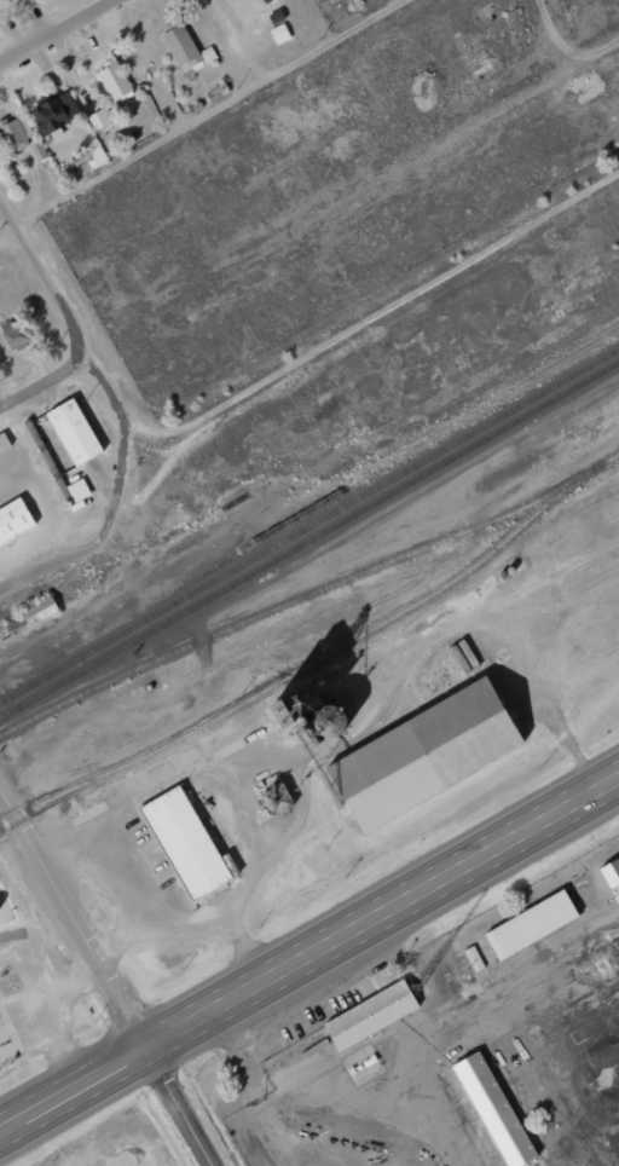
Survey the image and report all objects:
building: (265, 0)
road: (57, 31)
road: (237, 37)
building: (185, 48)
building: (114, 80)
road: (196, 111)
building: (56, 112)
building: (99, 119)
building: (13, 135)
road: (381, 285)
road: (63, 302)
building: (13, 334)
road: (46, 379)
building: (74, 432)
building: (13, 520)
railway: (309, 527)
railway: (308, 539)
railway: (309, 594)
building: (39, 611)
railway: (306, 665)
building: (303, 712)
building: (427, 735)
building: (277, 798)
building: (185, 826)
road: (423, 891)
building: (531, 908)
building: (474, 958)
road: (109, 979)
building: (372, 1002)
road: (187, 1023)
road: (74, 1087)
building: (493, 1095)

